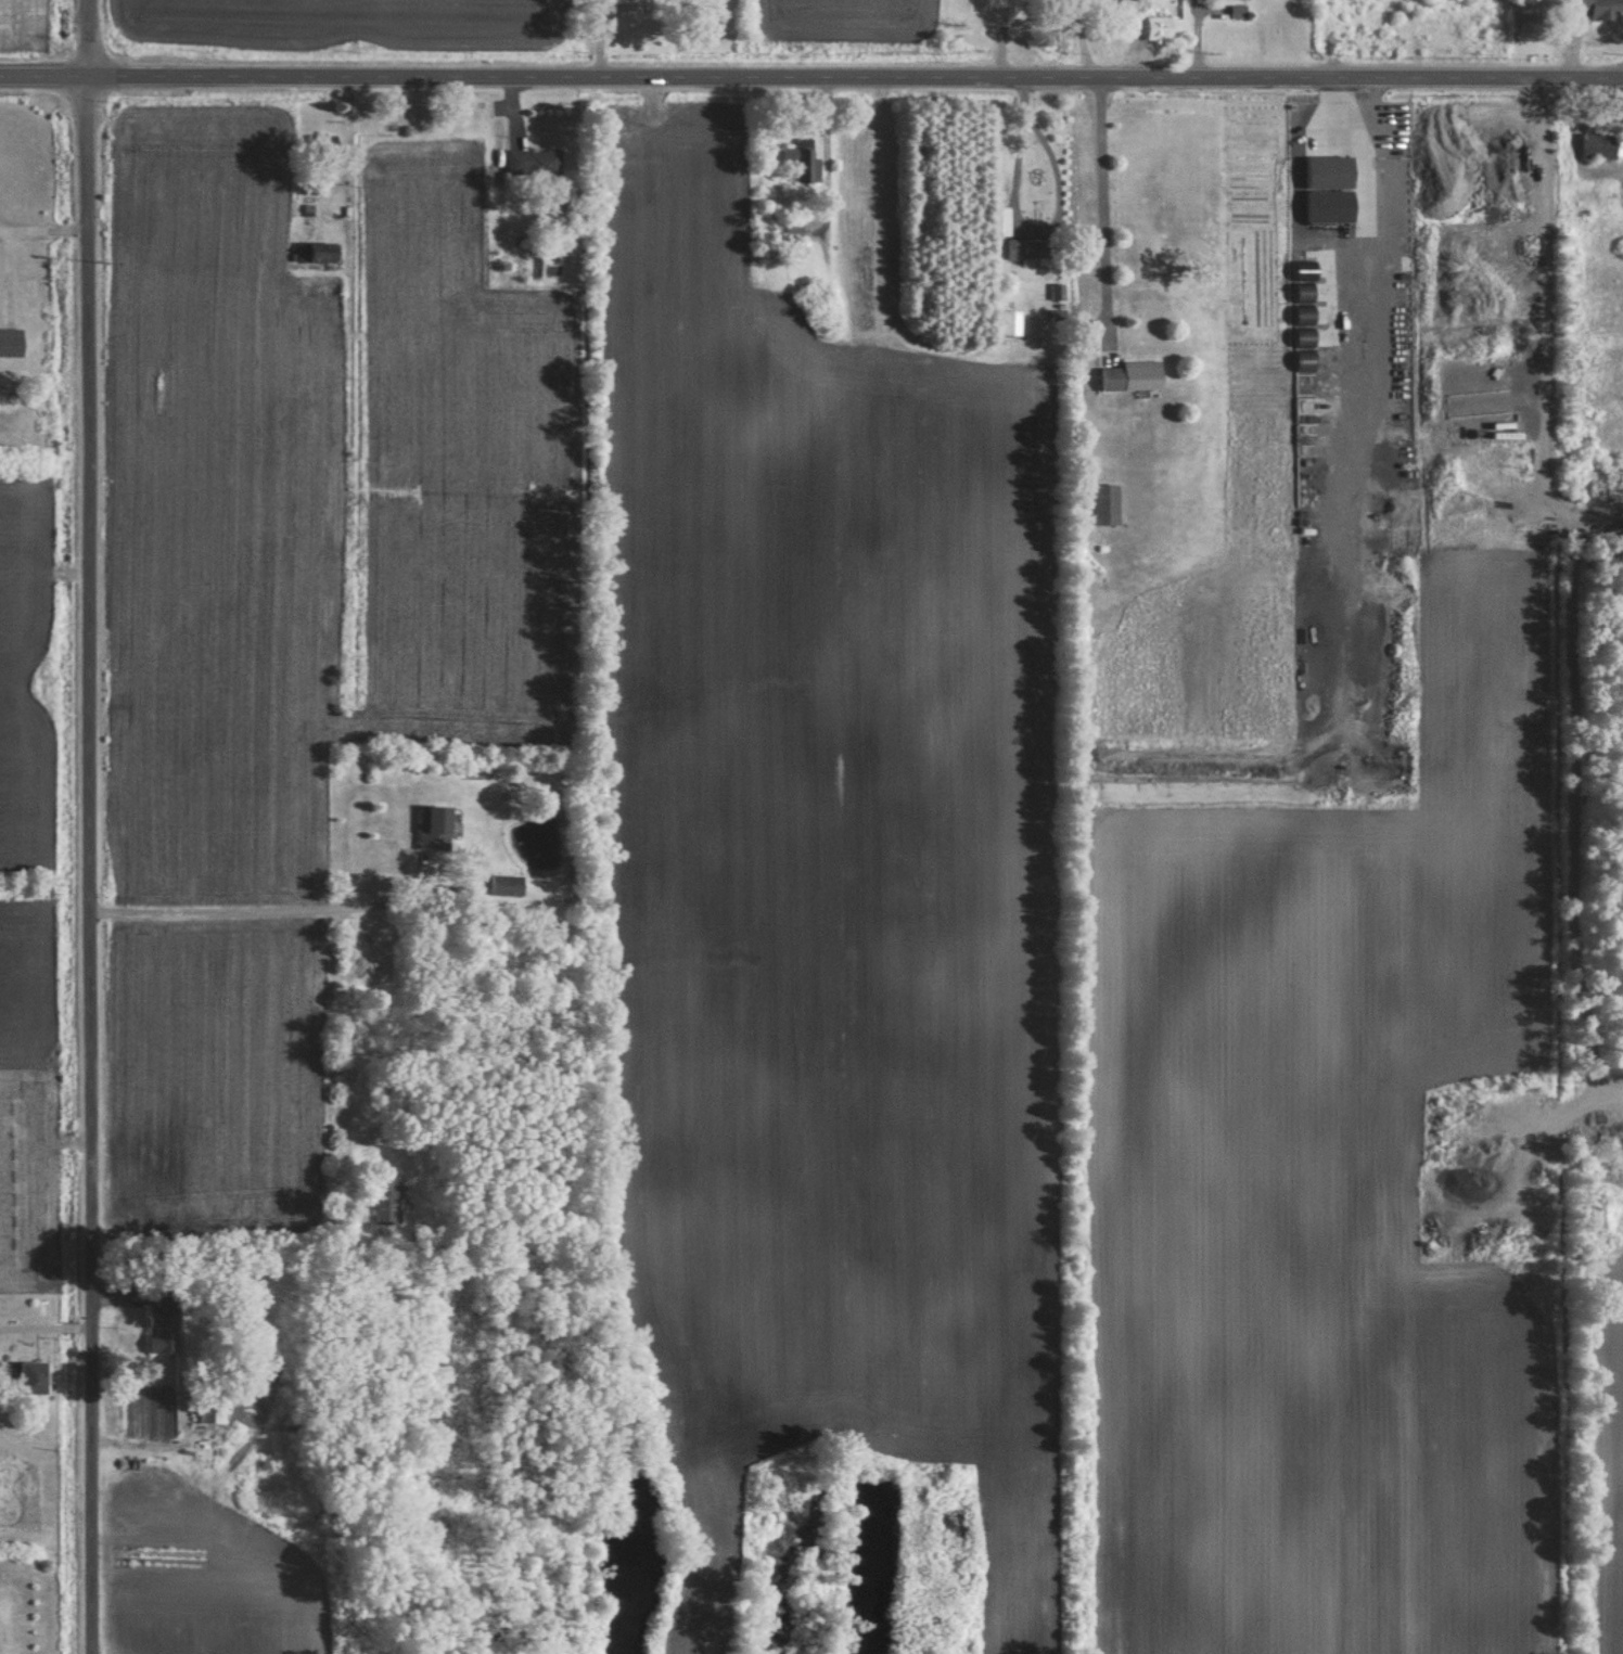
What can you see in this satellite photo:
building: (1600, 8)
building: (1021, 21)
building: (1159, 28)
road: (810, 78)
building: (1597, 145)
building: (535, 162)
building: (808, 164)
building: (1331, 170)
building: (1619, 194)
road: (1104, 209)
road: (1052, 218)
building: (794, 229)
road: (42, 230)
building: (1027, 249)
building: (320, 252)
building: (1010, 321)
building: (12, 344)
building: (1132, 375)
building: (1582, 484)
building: (1106, 502)
building: (435, 825)
road: (88, 826)
building: (504, 884)
road: (259, 909)
building: (386, 1202)
building: (164, 1323)
building: (38, 1376)
building: (209, 1411)

